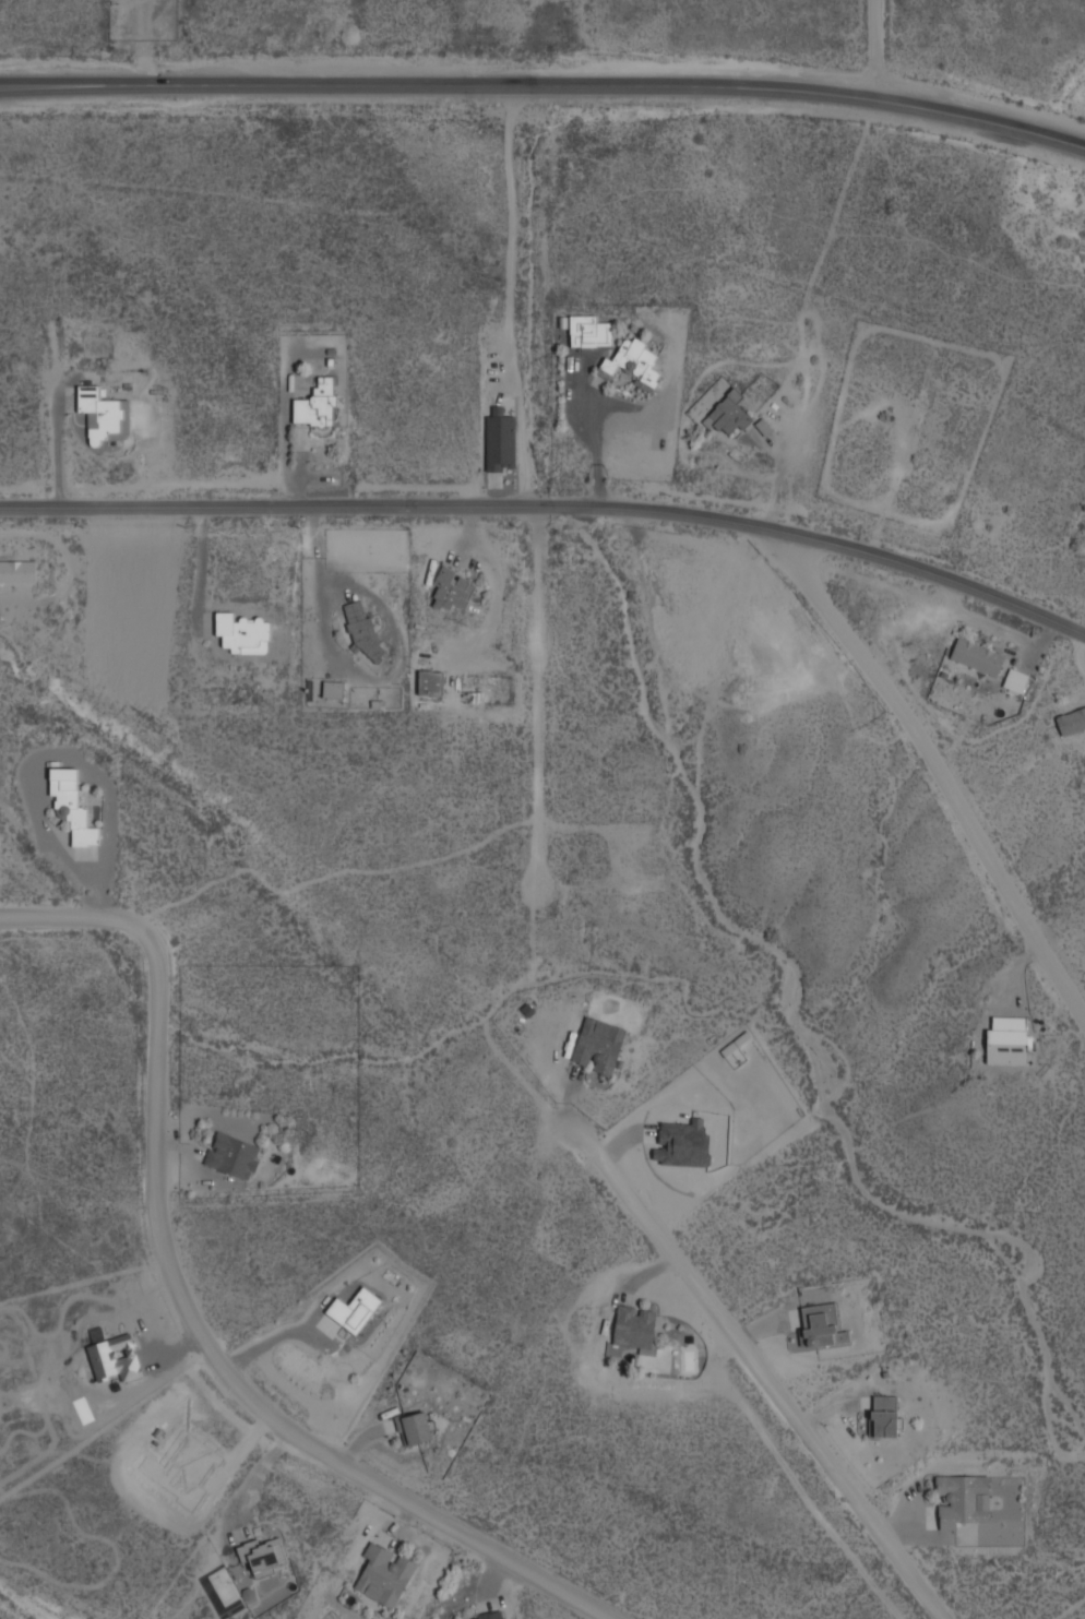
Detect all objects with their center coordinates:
road: (874, 49)
road: (546, 84)
road: (533, 295)
building: (589, 331)
building: (635, 361)
building: (318, 404)
building: (730, 414)
building: (105, 415)
building: (500, 440)
road: (552, 505)
building: (17, 570)
building: (454, 588)
building: (243, 631)
building: (362, 631)
building: (977, 656)
building: (1016, 680)
building: (431, 682)
building: (334, 689)
road: (536, 694)
building: (1071, 721)
road: (930, 767)
building: (73, 806)
road: (325, 876)
road: (487, 1012)
building: (1008, 1039)
building: (598, 1046)
building: (233, 1154)
building: (354, 1310)
road: (189, 1313)
building: (822, 1325)
building: (635, 1328)
road: (756, 1370)
building: (884, 1415)
building: (415, 1427)
building: (963, 1499)
building: (263, 1555)
building: (385, 1573)
building: (490, 1616)

